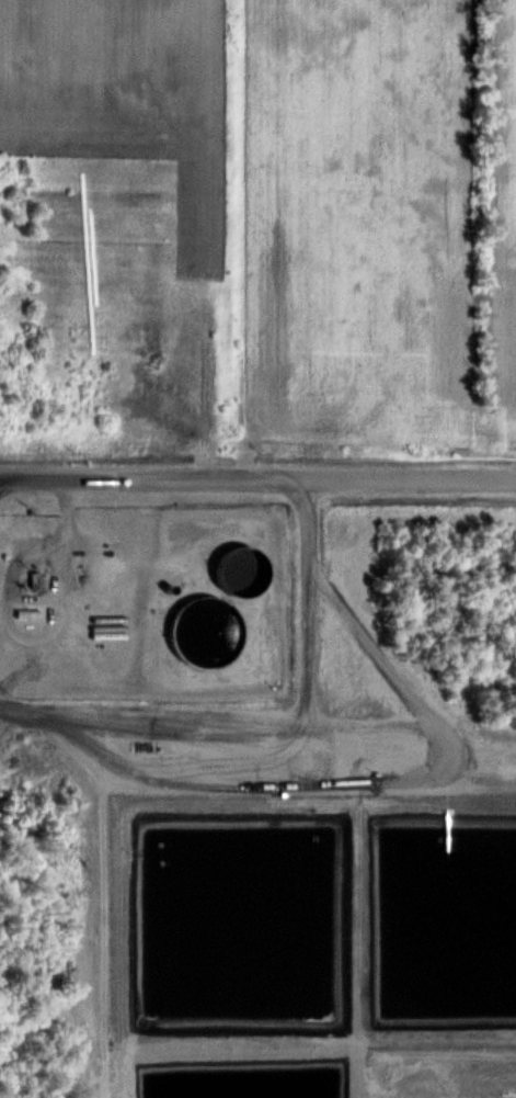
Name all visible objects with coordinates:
road: (257, 480)
building: (240, 566)

